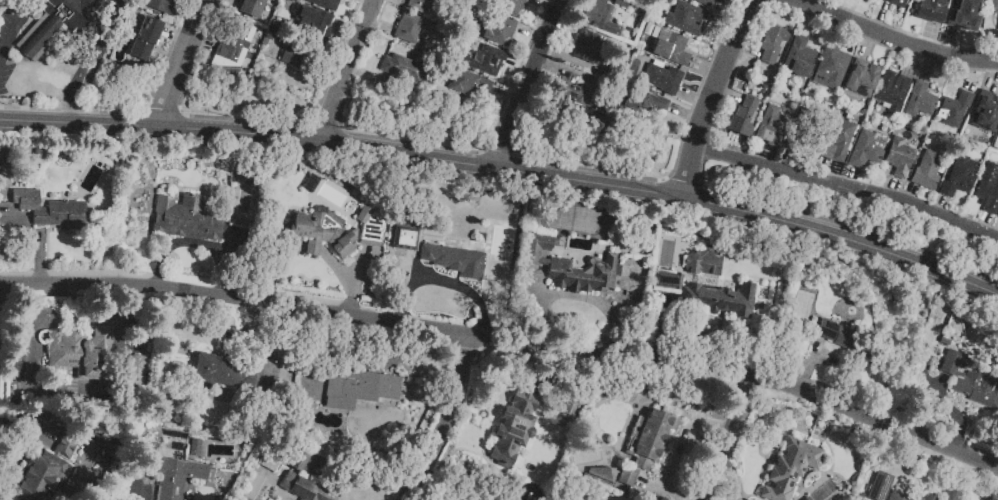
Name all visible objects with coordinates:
road: (405, 0)
road: (370, 1)
road: (234, 2)
building: (621, 3)
building: (704, 3)
building: (896, 3)
road: (196, 5)
road: (202, 5)
building: (322, 5)
building: (513, 5)
road: (549, 5)
building: (162, 6)
building: (420, 6)
road: (823, 6)
building: (251, 7)
building: (994, 7)
road: (731, 9)
building: (930, 10)
building: (963, 11)
road: (184, 13)
road: (861, 14)
building: (599, 15)
building: (686, 19)
building: (314, 22)
road: (809, 22)
building: (60, 24)
road: (380, 25)
building: (409, 28)
road: (723, 28)
building: (997, 28)
road: (568, 29)
building: (499, 30)
road: (15, 34)
building: (269, 35)
road: (535, 35)
parking lot: (12, 36)
road: (174, 36)
building: (145, 39)
road: (850, 39)
road: (892, 40)
road: (932, 40)
road: (200, 42)
building: (233, 44)
building: (772, 44)
road: (869, 45)
road: (953, 45)
parking lot: (99, 46)
building: (587, 47)
building: (670, 48)
road: (748, 49)
road: (93, 51)
building: (295, 58)
building: (808, 59)
building: (488, 60)
road: (911, 63)
road: (525, 65)
road: (553, 67)
building: (830, 67)
road: (176, 68)
building: (402, 68)
road: (707, 68)
road: (927, 68)
road: (346, 70)
road: (366, 75)
road: (973, 77)
building: (662, 78)
building: (860, 79)
road: (992, 79)
building: (468, 82)
road: (535, 84)
building: (891, 90)
building: (576, 91)
road: (512, 94)
road: (729, 96)
road: (696, 98)
road: (713, 99)
building: (920, 100)
building: (649, 103)
building: (954, 109)
road: (72, 112)
building: (984, 112)
road: (688, 115)
building: (743, 116)
road: (80, 122)
building: (772, 127)
building: (803, 134)
building: (838, 138)
road: (332, 143)
building: (866, 148)
building: (899, 157)
road: (767, 158)
road: (789, 162)
building: (927, 170)
road: (834, 174)
building: (957, 176)
road: (853, 178)
road: (849, 187)
building: (989, 188)
road: (896, 189)
road: (916, 195)
road: (943, 206)
building: (51, 211)
road: (754, 217)
building: (185, 219)
building: (370, 224)
road: (986, 224)
building: (322, 232)
building: (405, 238)
building: (454, 259)
building: (704, 261)
building: (547, 263)
building: (710, 296)
building: (837, 335)
road: (507, 340)
building: (82, 353)
building: (216, 370)
building: (135, 371)
building: (246, 374)
building: (970, 382)
building: (358, 388)
building: (569, 407)
road: (448, 421)
building: (512, 430)
building: (651, 438)
road: (735, 439)
building: (790, 469)
building: (45, 470)
building: (599, 474)
building: (176, 476)
building: (297, 485)
building: (879, 486)
building: (908, 497)

